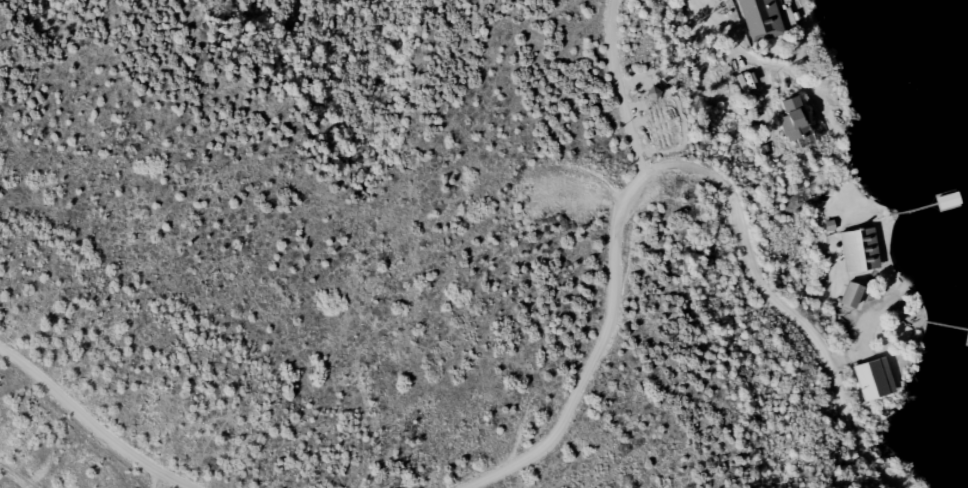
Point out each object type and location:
building: (759, 20)
road: (628, 89)
building: (791, 124)
road: (680, 160)
building: (946, 207)
building: (858, 250)
building: (850, 296)
road: (101, 419)

